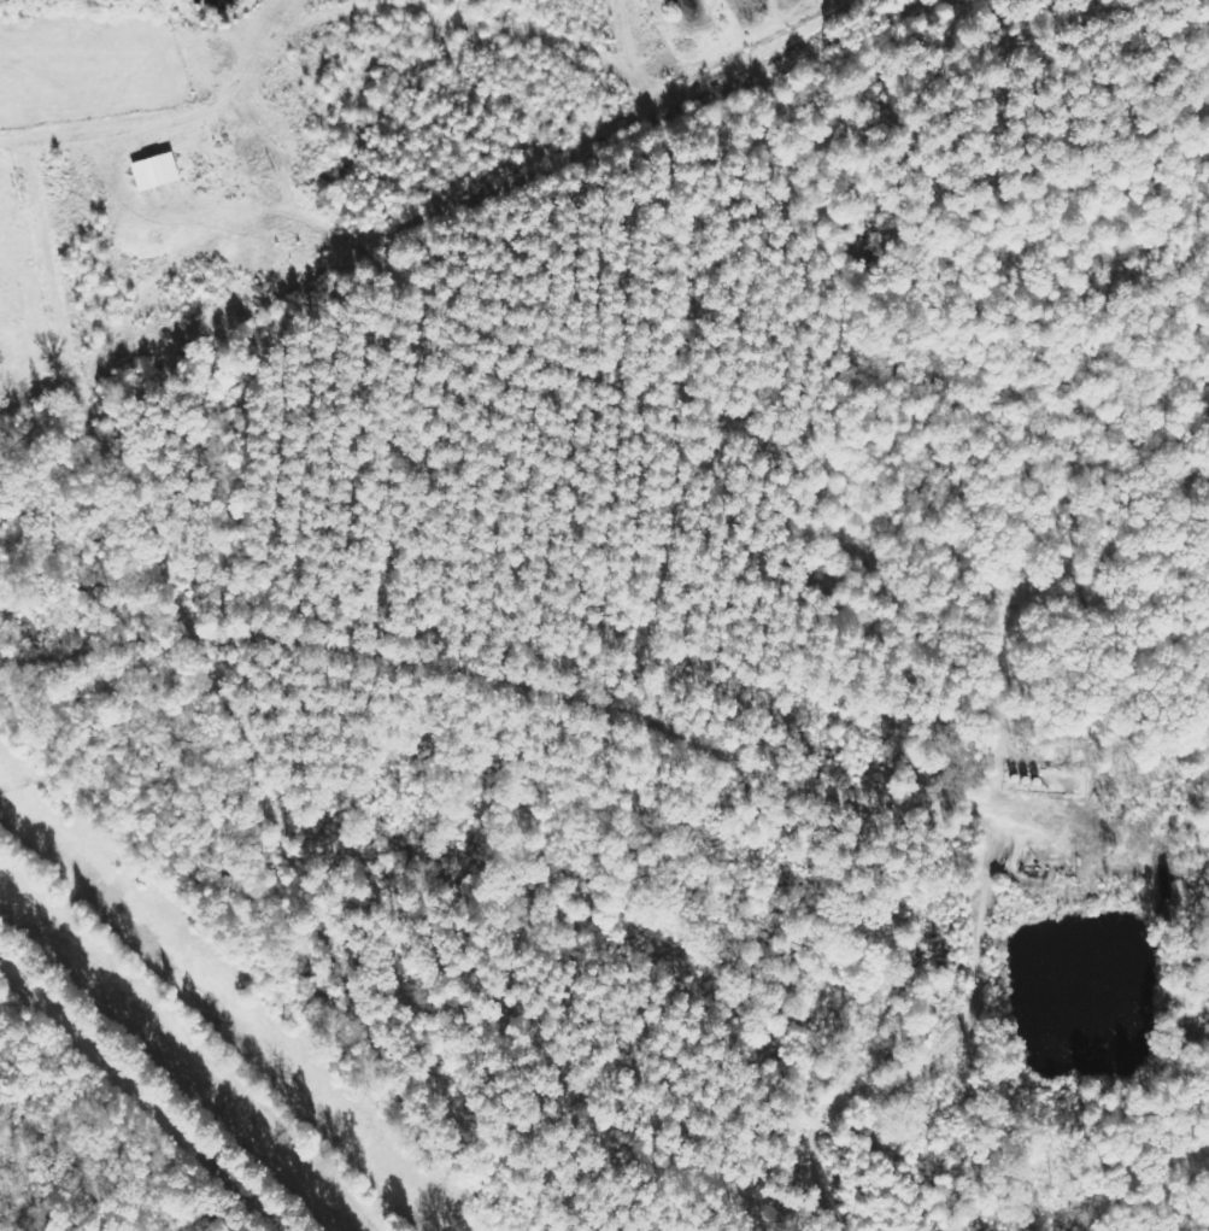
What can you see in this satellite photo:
building: (160, 172)

